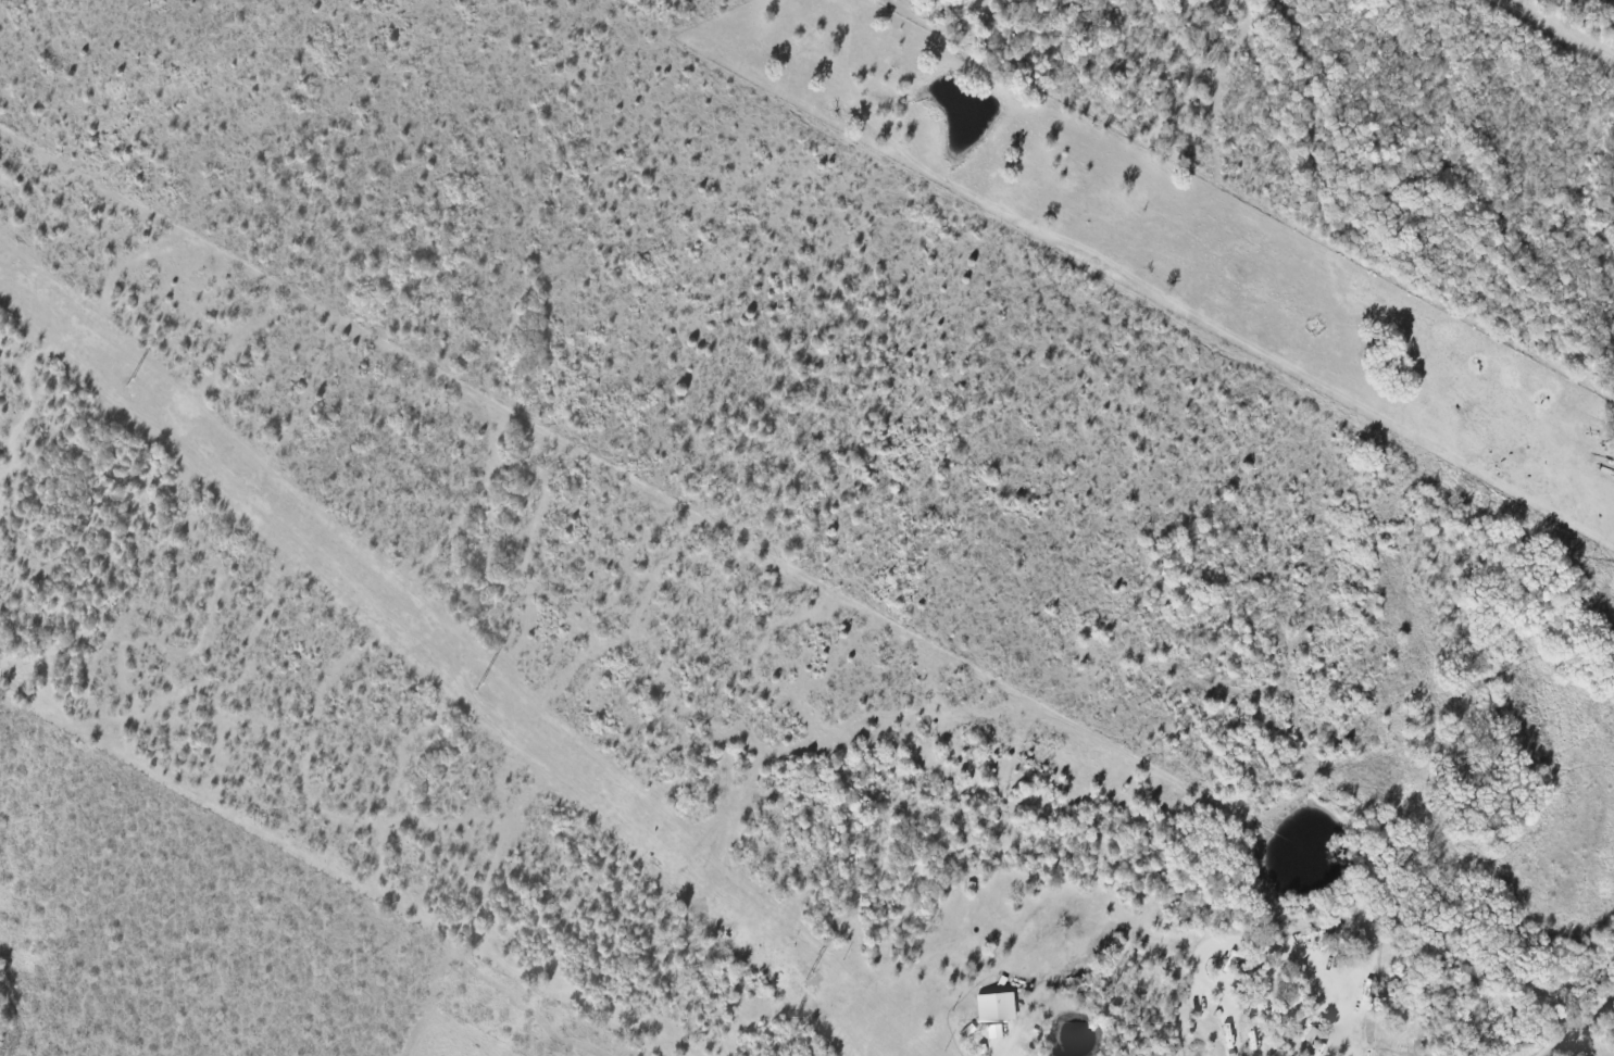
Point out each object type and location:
power tower: (130, 381)
power tower: (480, 684)
road: (1275, 943)
building: (1230, 958)
power tower: (810, 973)
building: (996, 1007)
building: (994, 1031)
road: (1581, 1031)
building: (1309, 1033)
road: (1573, 1048)

